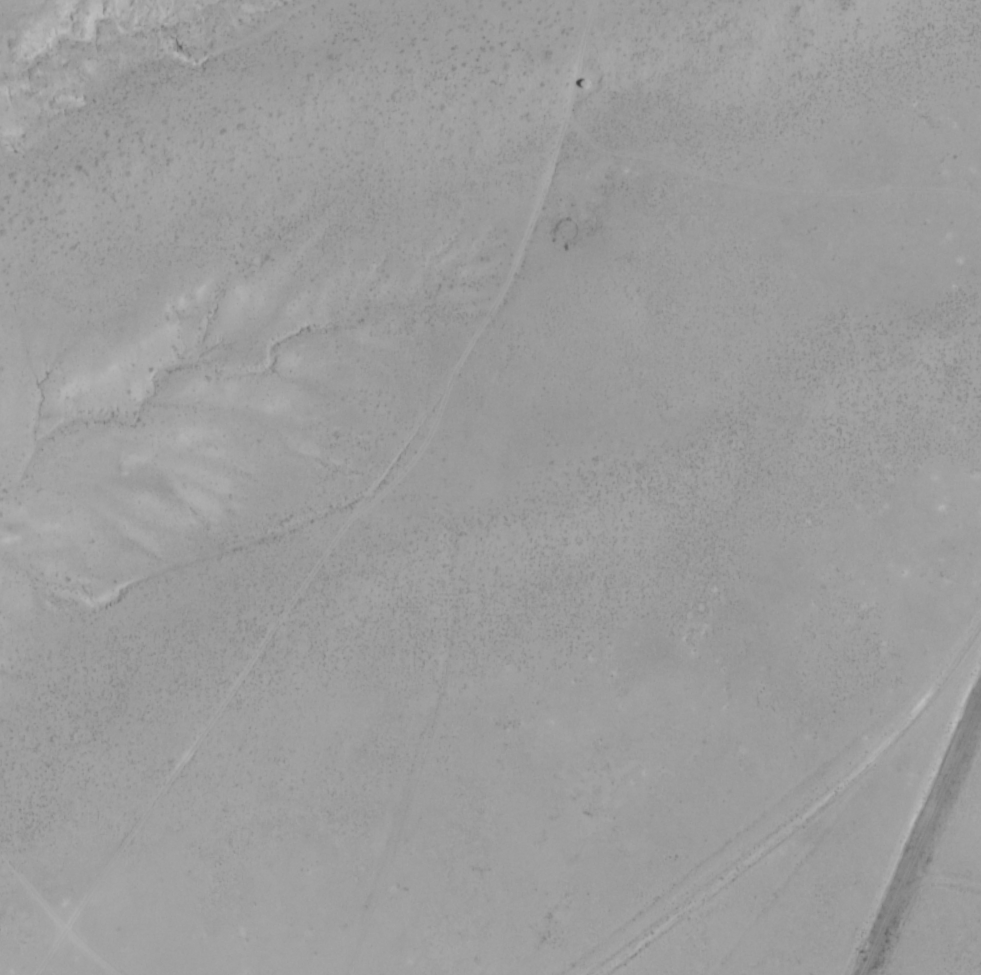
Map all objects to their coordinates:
road: (767, 802)
road: (925, 834)

